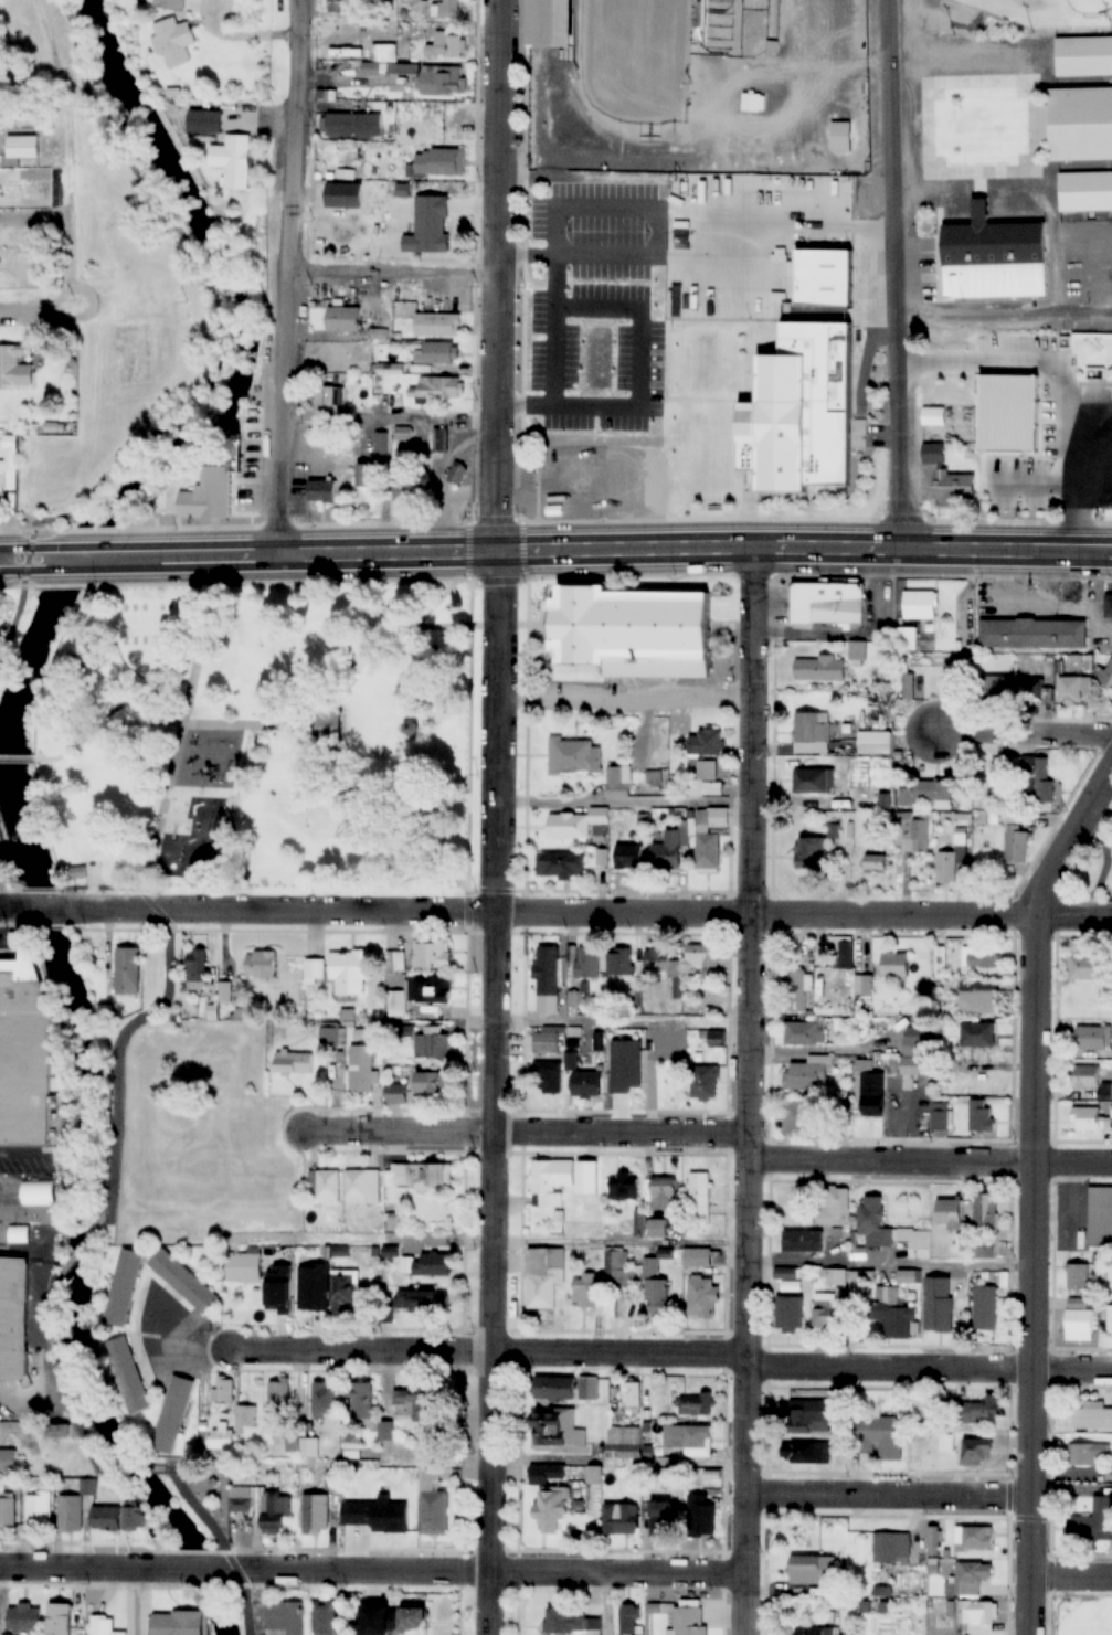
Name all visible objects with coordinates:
building: (170, 4)
building: (337, 7)
building: (454, 8)
park: (1053, 11)
building: (549, 24)
building: (172, 41)
building: (446, 44)
building: (1083, 57)
building: (414, 72)
building: (754, 102)
building: (204, 123)
building: (352, 125)
building: (1080, 125)
building: (841, 136)
building: (21, 148)
building: (236, 162)
building: (438, 162)
building: (1087, 191)
road: (542, 216)
building: (428, 226)
road: (519, 259)
building: (995, 259)
road: (496, 275)
road: (885, 275)
road: (277, 278)
building: (822, 278)
road: (386, 279)
road: (24, 306)
parking lot: (582, 309)
building: (437, 326)
building: (436, 353)
road: (216, 359)
building: (590, 359)
road: (625, 363)
building: (1109, 364)
road: (966, 365)
building: (14, 367)
building: (390, 369)
building: (436, 387)
building: (329, 396)
parking lot: (1085, 400)
building: (799, 411)
building: (989, 416)
building: (403, 434)
building: (439, 440)
building: (229, 449)
building: (934, 454)
building: (1108, 459)
building: (374, 467)
road: (1069, 474)
building: (2, 481)
building: (320, 485)
building: (1016, 487)
building: (955, 488)
building: (215, 491)
road: (1088, 493)
building: (407, 496)
road: (608, 552)
road: (75, 560)
road: (21, 561)
building: (829, 604)
building: (920, 604)
building: (1109, 606)
building: (1035, 628)
road: (469, 629)
road: (383, 636)
building: (906, 638)
parking lot: (0, 639)
building: (617, 639)
road: (206, 640)
building: (857, 650)
building: (824, 670)
building: (1108, 676)
building: (909, 688)
building: (997, 689)
building: (1030, 689)
building: (1076, 689)
building: (17, 698)
road: (621, 702)
building: (411, 728)
building: (328, 730)
road: (1024, 731)
building: (812, 733)
road: (181, 740)
park: (260, 741)
building: (876, 742)
building: (706, 743)
building: (574, 757)
road: (18, 760)
building: (557, 765)
building: (814, 781)
building: (1042, 783)
building: (617, 785)
river: (13, 787)
road: (351, 792)
building: (926, 792)
building: (847, 796)
building: (569, 827)
building: (920, 831)
building: (710, 838)
building: (1017, 845)
road: (2, 848)
building: (668, 852)
building: (812, 852)
building: (628, 857)
building: (952, 861)
building: (875, 862)
building: (561, 866)
building: (77, 871)
parking lot: (3, 875)
road: (4, 893)
road: (12, 910)
road: (45, 910)
road: (113, 910)
road: (328, 911)
road: (636, 915)
road: (943, 917)
road: (7, 939)
building: (432, 953)
building: (845, 953)
road: (9, 955)
building: (703, 956)
building: (979, 957)
building: (657, 959)
building: (394, 962)
building: (587, 962)
building: (619, 962)
building: (941, 962)
building: (263, 965)
building: (894, 965)
building: (1088, 966)
building: (197, 968)
building: (548, 969)
building: (127, 970)
building: (314, 970)
building: (350, 970)
building: (395, 986)
building: (864, 988)
building: (428, 989)
building: (796, 989)
building: (225, 991)
building: (978, 997)
building: (395, 1004)
building: (104, 1012)
building: (212, 1012)
building: (241, 1015)
building: (346, 1015)
road: (624, 1022)
building: (350, 1024)
building: (402, 1031)
building: (805, 1033)
building: (360, 1034)
building: (978, 1034)
building: (331, 1036)
building: (717, 1039)
building: (1089, 1039)
building: (547, 1041)
building: (784, 1041)
building: (432, 1043)
building: (627, 1051)
road: (116, 1052)
building: (917, 1054)
building: (571, 1060)
building: (28, 1061)
building: (293, 1063)
building: (360, 1071)
building: (808, 1074)
building: (671, 1075)
building: (1084, 1075)
building: (549, 1077)
building: (705, 1082)
building: (430, 1083)
building: (586, 1084)
road: (496, 1093)
road: (752, 1093)
building: (872, 1093)
building: (399, 1094)
building: (982, 1115)
building: (1085, 1115)
building: (941, 1116)
building: (798, 1117)
road: (529, 1133)
road: (23, 1153)
parking lot: (27, 1159)
road: (931, 1168)
building: (422, 1176)
building: (562, 1180)
building: (624, 1187)
building: (324, 1188)
building: (362, 1188)
road: (1036, 1195)
building: (664, 1196)
building: (700, 1198)
building: (834, 1208)
building: (986, 1211)
building: (950, 1214)
building: (393, 1217)
building: (1101, 1219)
building: (875, 1225)
building: (643, 1228)
road: (495, 1242)
building: (804, 1242)
building: (917, 1243)
road: (81, 1248)
building: (787, 1249)
building: (986, 1250)
building: (340, 1251)
building: (325, 1252)
building: (374, 1252)
building: (390, 1253)
building: (698, 1257)
building: (433, 1265)
road: (893, 1265)
building: (244, 1267)
building: (618, 1270)
building: (544, 1276)
building: (832, 1276)
building: (907, 1277)
building: (1079, 1278)
building: (182, 1281)
building: (121, 1287)
building: (655, 1287)
building: (313, 1288)
building: (279, 1291)
building: (343, 1291)
building: (583, 1292)
building: (702, 1298)
road: (168, 1304)
building: (423, 1304)
building: (939, 1305)
building: (985, 1308)
building: (827, 1310)
building: (790, 1314)
building: (386, 1315)
building: (894, 1316)
building: (13, 1318)
building: (1110, 1320)
building: (1079, 1321)
road: (176, 1334)
parking lot: (173, 1339)
road: (435, 1351)
road: (696, 1353)
road: (39, 1355)
road: (165, 1358)
building: (126, 1374)
road: (930, 1374)
road: (61, 1379)
building: (554, 1389)
building: (589, 1389)
building: (222, 1391)
building: (279, 1393)
building: (632, 1395)
building: (324, 1399)
parking lot: (12, 1400)
building: (362, 1401)
building: (415, 1404)
building: (696, 1404)
building: (982, 1411)
building: (171, 1414)
building: (809, 1415)
building: (245, 1419)
building: (1092, 1419)
building: (57, 1431)
building: (384, 1431)
building: (555, 1431)
building: (625, 1436)
building: (881, 1436)
building: (688, 1437)
building: (222, 1440)
building: (351, 1440)
building: (292, 1443)
building: (308, 1447)
building: (806, 1452)
building: (971, 1452)
building: (1090, 1454)
building: (351, 1455)
building: (8, 1459)
road: (135, 1468)
building: (554, 1472)
building: (1109, 1476)
building: (330, 1482)
building: (372, 1484)
building: (87, 1486)
building: (407, 1488)
park: (201, 1494)
road: (891, 1497)
building: (431, 1505)
building: (262, 1506)
building: (7, 1510)
building: (550, 1510)
building: (39, 1511)
building: (70, 1512)
building: (314, 1514)
building: (700, 1515)
building: (133, 1517)
building: (106, 1519)
building: (621, 1519)
building: (660, 1519)
building: (353, 1522)
building: (389, 1523)
building: (1093, 1523)
building: (974, 1539)
building: (934, 1541)
road: (221, 1544)
building: (892, 1549)
road: (89, 1568)
road: (201, 1569)
road: (486, 1570)
building: (813, 1570)
building: (973, 1578)
road: (1072, 1583)
building: (974, 1613)
building: (350, 1615)
building: (24, 1617)
building: (59, 1618)
building: (284, 1618)
building: (324, 1618)
building: (405, 1620)
building: (629, 1620)
building: (689, 1621)
building: (179, 1623)
building: (570, 1623)
building: (102, 1626)
building: (809, 1631)

